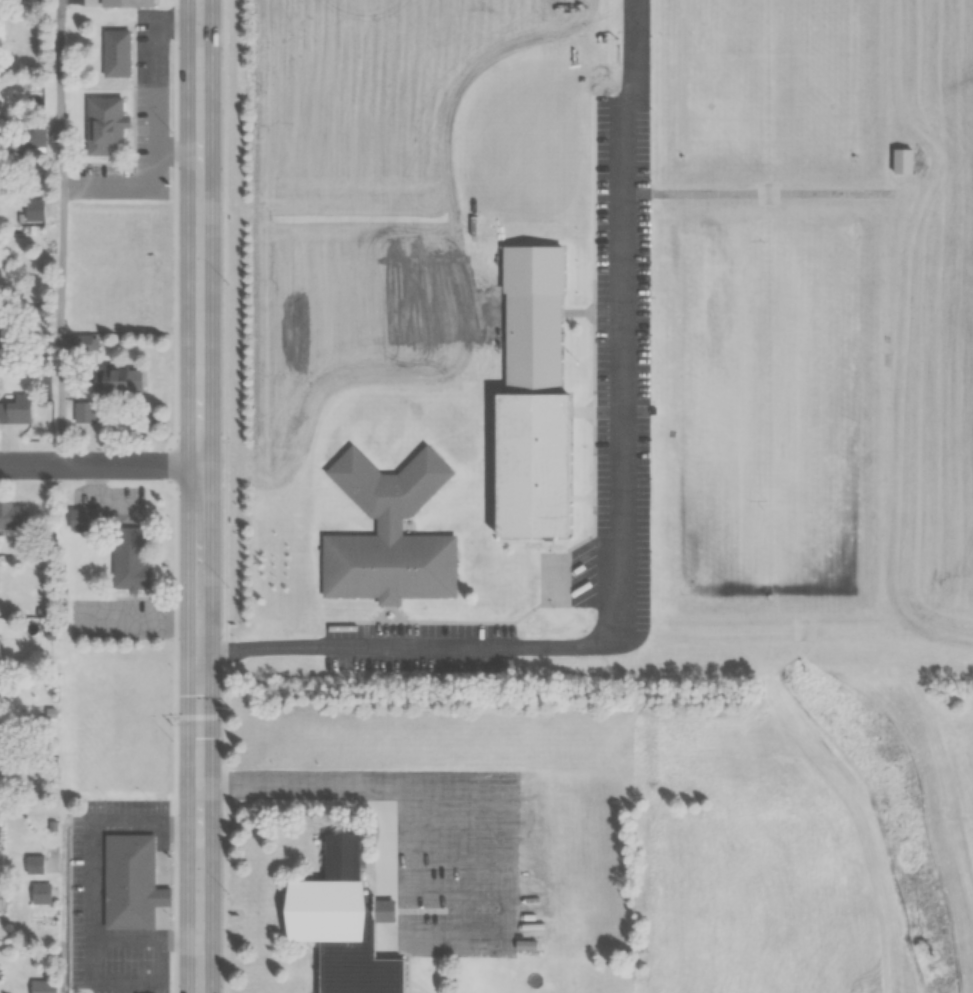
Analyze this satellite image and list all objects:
building: (125, 1)
street lamp: (223, 23)
building: (114, 53)
building: (102, 123)
building: (901, 160)
street lamp: (223, 184)
park: (767, 192)
building: (32, 210)
road: (60, 232)
street lamp: (653, 258)
street lamp: (653, 332)
street lamp: (224, 344)
park: (762, 375)
building: (113, 384)
building: (527, 396)
street lamp: (652, 404)
building: (81, 412)
road: (99, 464)
street lamp: (650, 475)
road: (199, 496)
building: (9, 517)
building: (81, 519)
street lamp: (224, 520)
road: (618, 523)
building: (387, 531)
street lamp: (650, 548)
building: (127, 557)
park: (555, 579)
park: (804, 629)
street lamp: (436, 668)
street lamp: (364, 669)
street lamp: (224, 677)
road: (510, 833)
street lamp: (224, 851)
building: (128, 881)
building: (39, 893)
road: (62, 905)
building: (343, 924)
building: (42, 986)

